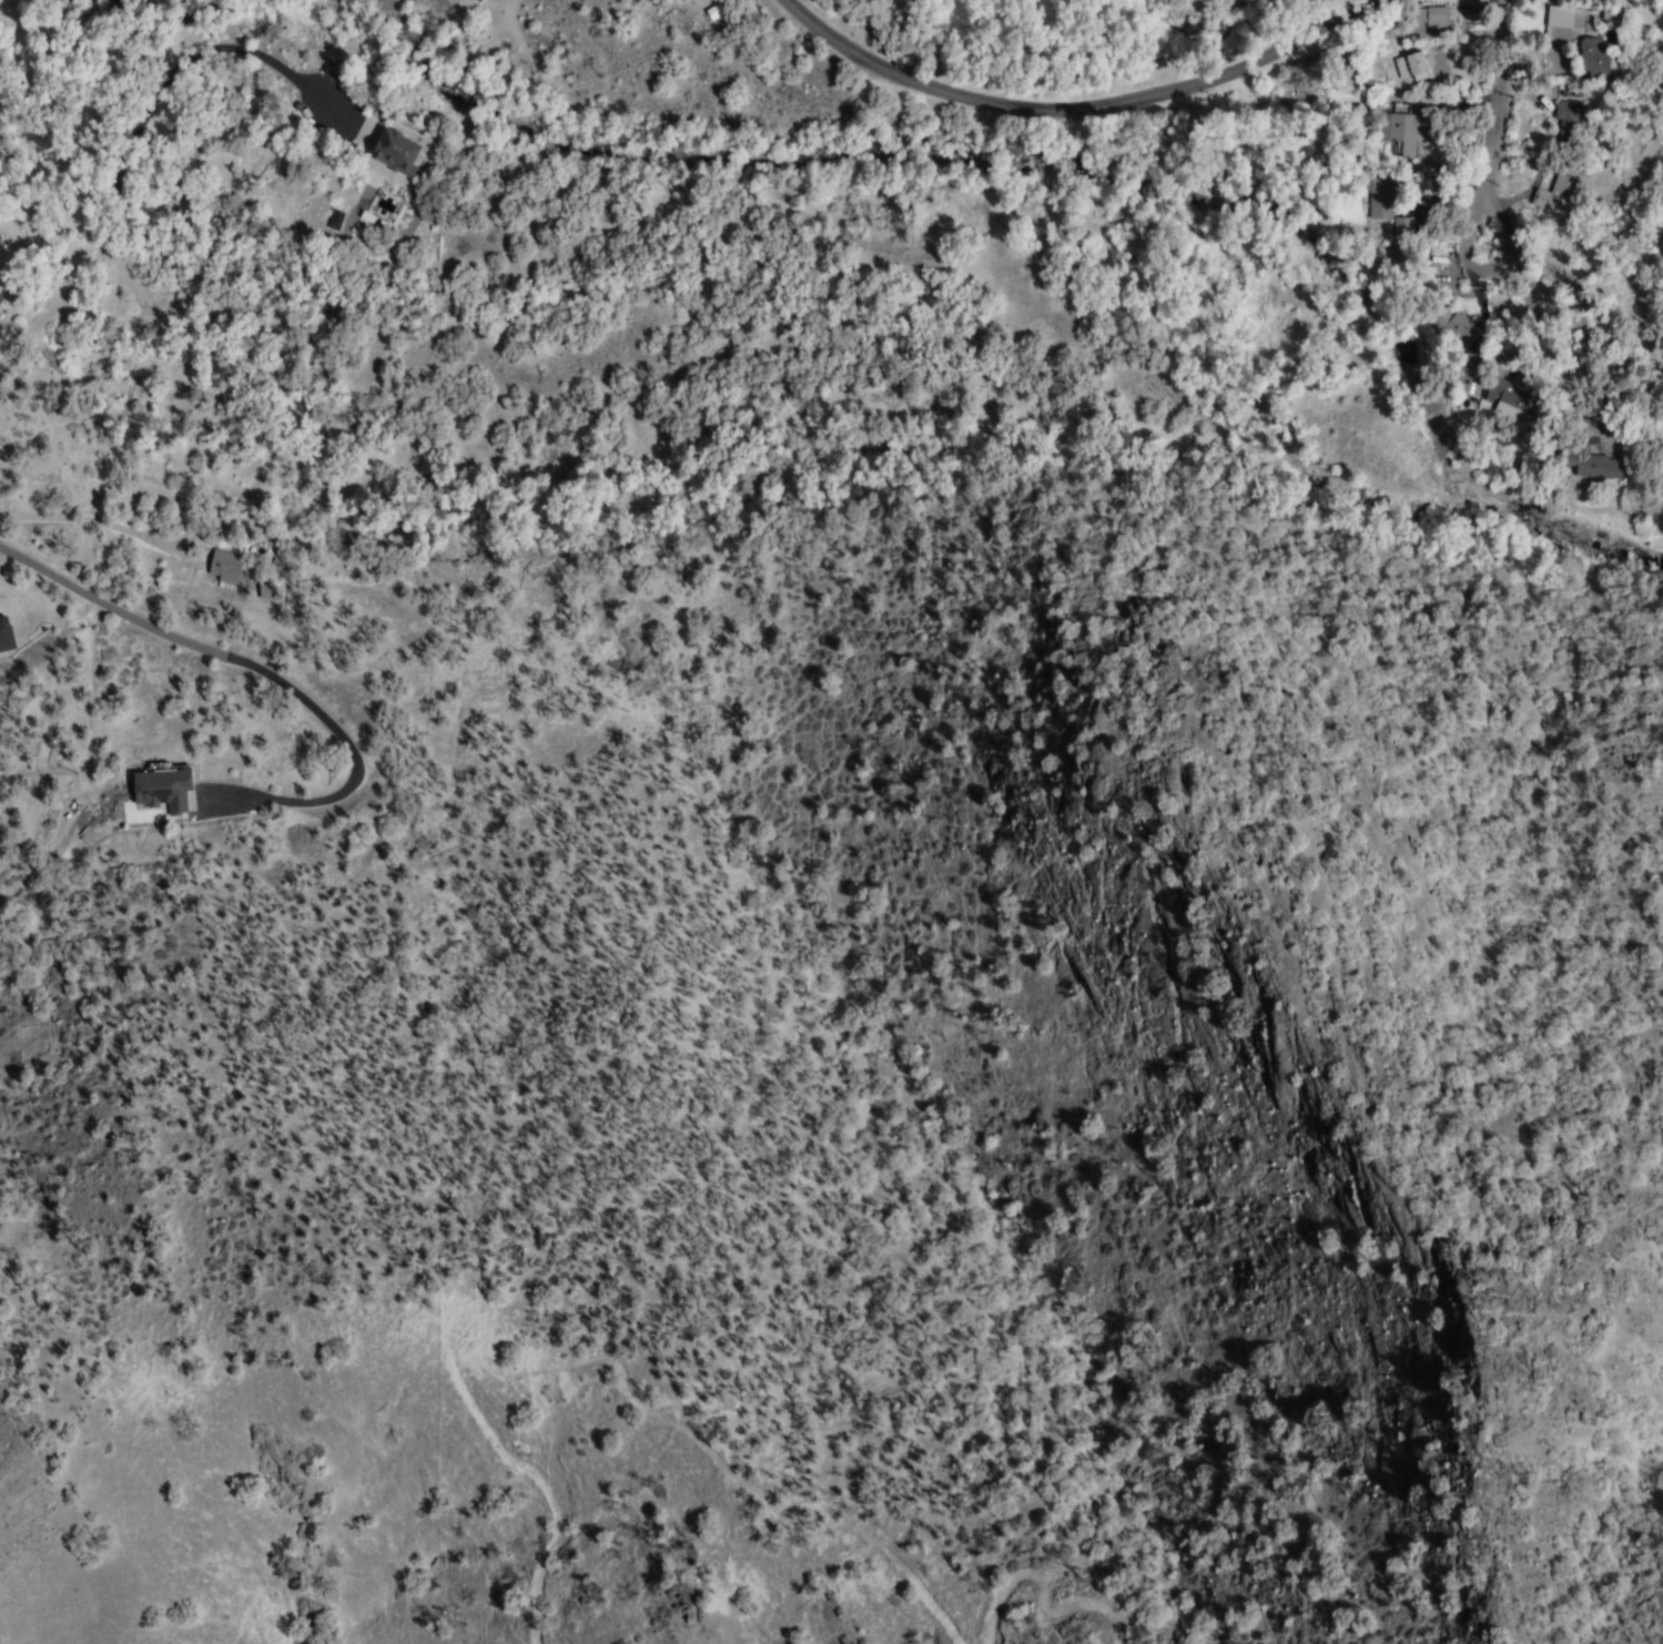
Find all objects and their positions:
building: (712, 10)
building: (1558, 17)
building: (1590, 20)
building: (1586, 59)
building: (1414, 67)
road: (1078, 112)
building: (1565, 124)
building: (1405, 128)
building: (387, 141)
river: (1056, 164)
road: (1451, 169)
building: (1552, 192)
building: (1376, 207)
building: (333, 220)
road: (1539, 286)
building: (1454, 326)
building: (1511, 400)
building: (1592, 460)
building: (221, 568)
building: (263, 591)
building: (4, 640)
road: (261, 678)
building: (163, 791)

